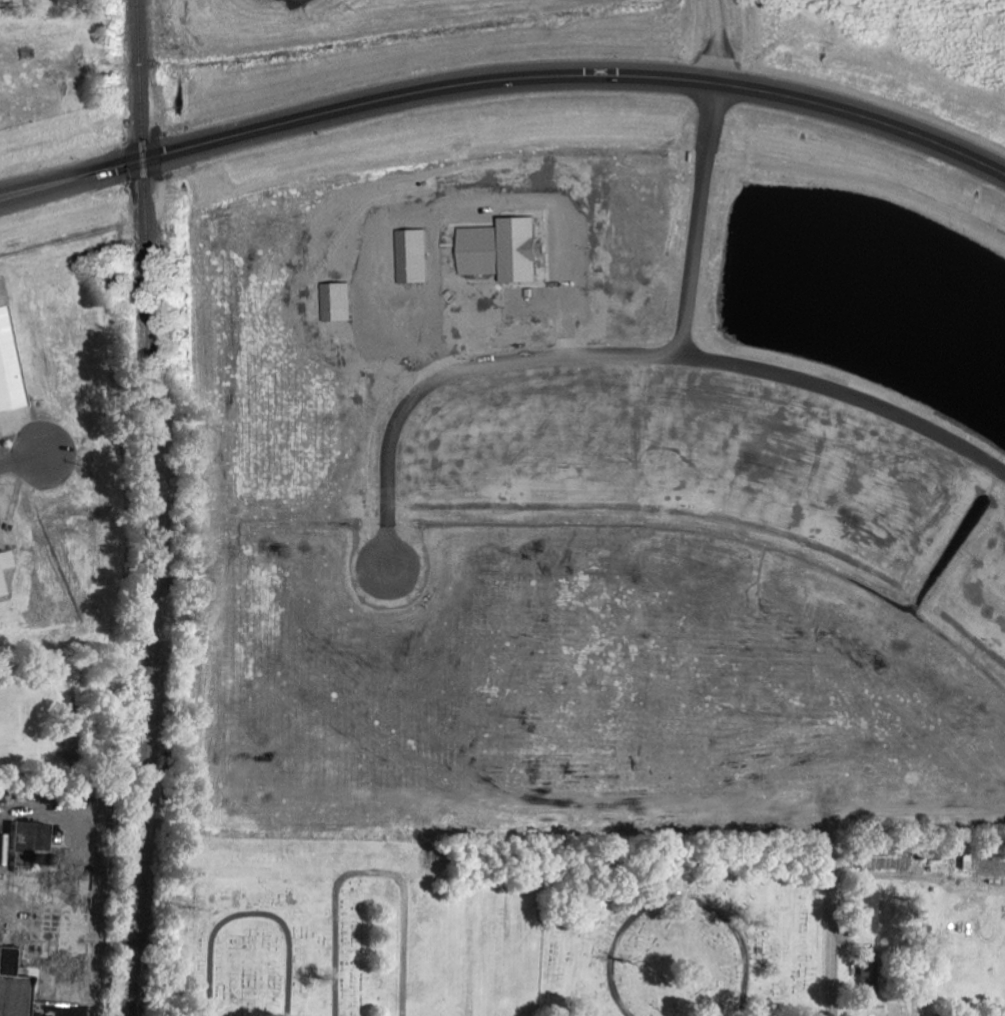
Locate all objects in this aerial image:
road: (503, 81)
road: (701, 221)
building: (9, 366)
road: (456, 373)
road: (851, 396)
road: (25, 457)
railway: (151, 508)
building: (2, 582)
building: (33, 837)
building: (888, 858)
building: (969, 858)
park: (406, 907)
building: (873, 907)
park: (682, 924)
road: (834, 933)
park: (242, 943)
building: (6, 961)
building: (872, 976)

